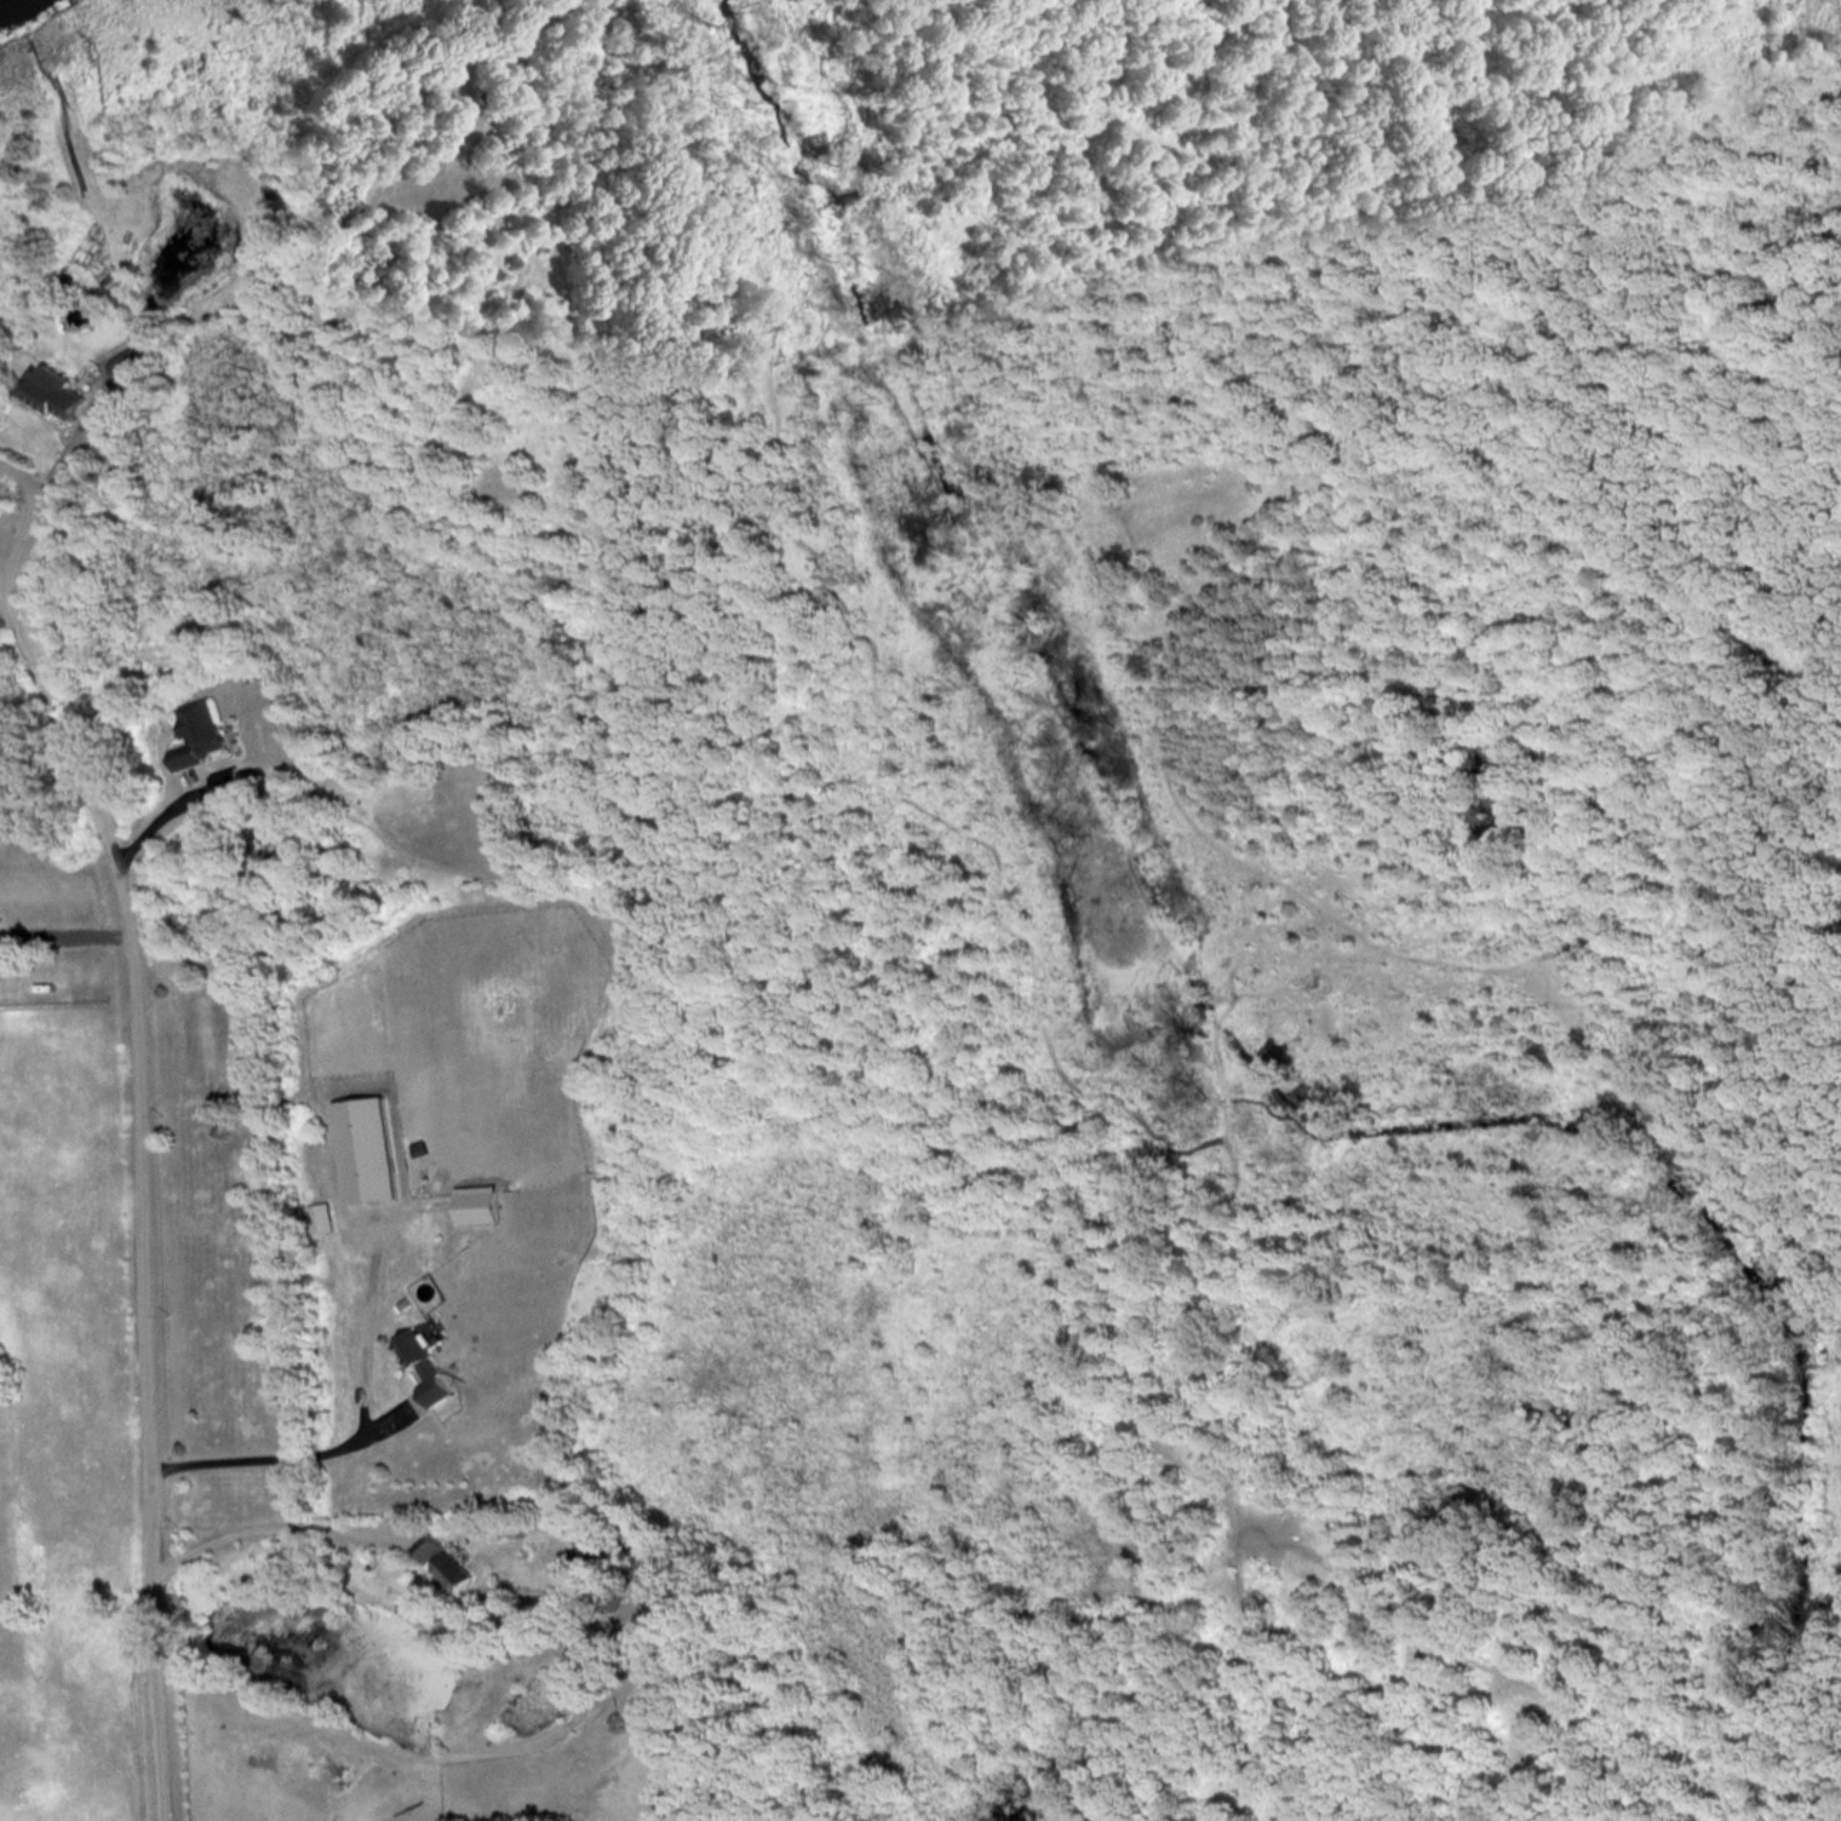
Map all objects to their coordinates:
building: (132, 363)
building: (61, 391)
road: (62, 461)
building: (203, 735)
road: (165, 815)
road: (67, 929)
road: (143, 1165)
building: (481, 1201)
building: (321, 1216)
building: (426, 1365)
road: (273, 1459)
road: (276, 1528)
building: (451, 1558)
building: (584, 1564)
building: (614, 1587)

